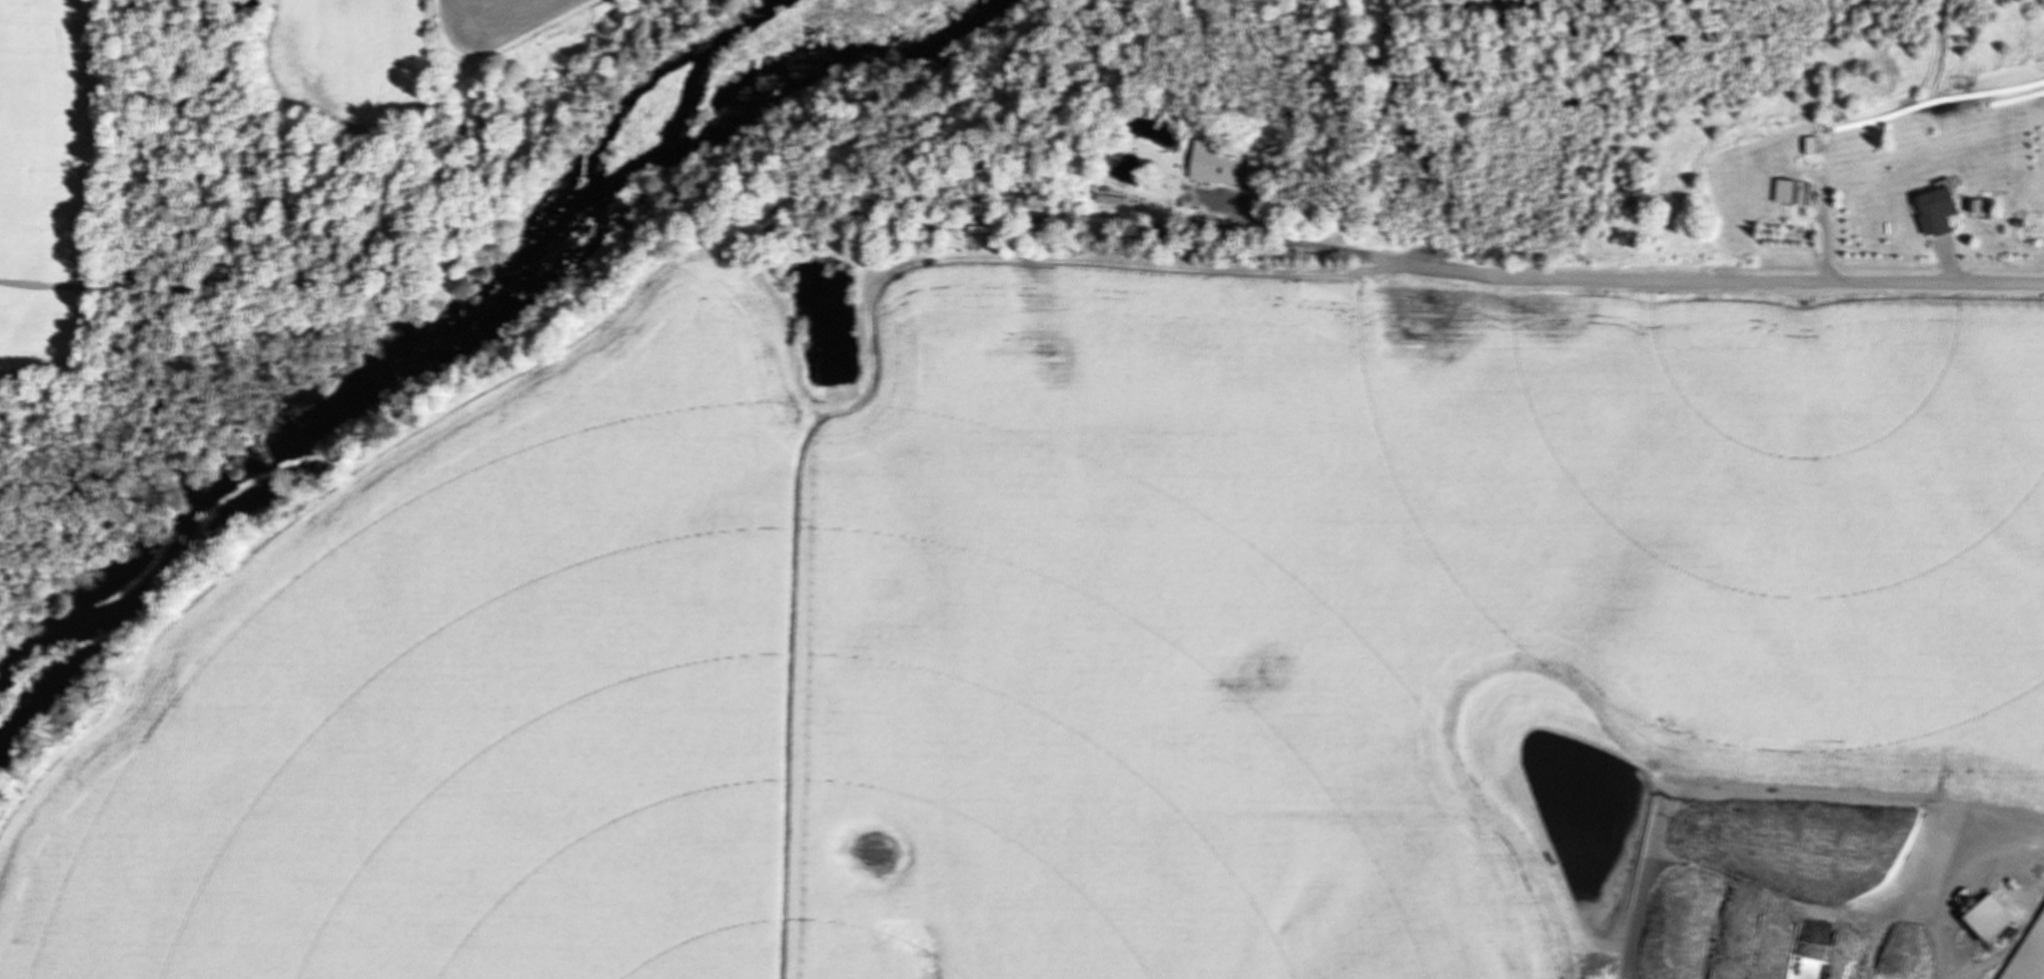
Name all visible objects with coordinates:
building: (1213, 166)
building: (1782, 191)
building: (1934, 208)
road: (1709, 282)
river: (404, 361)

